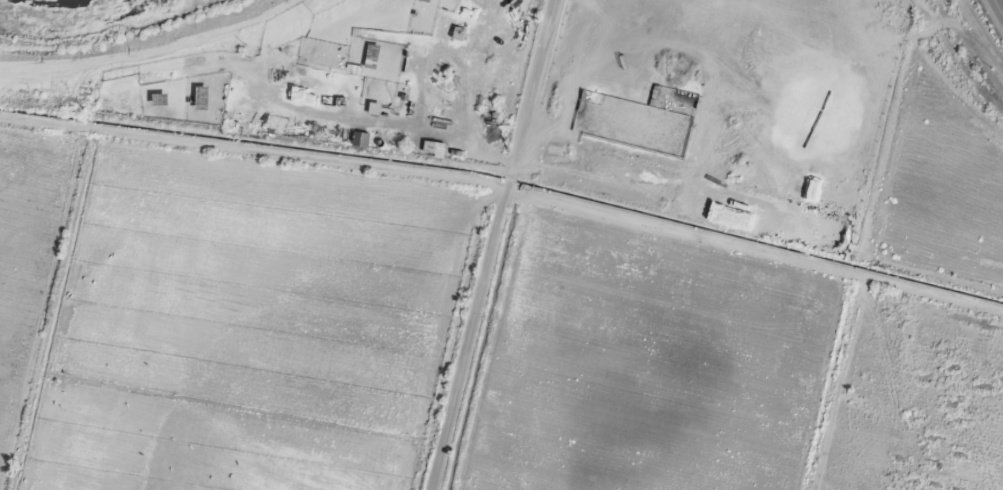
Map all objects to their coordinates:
road: (992, 16)

